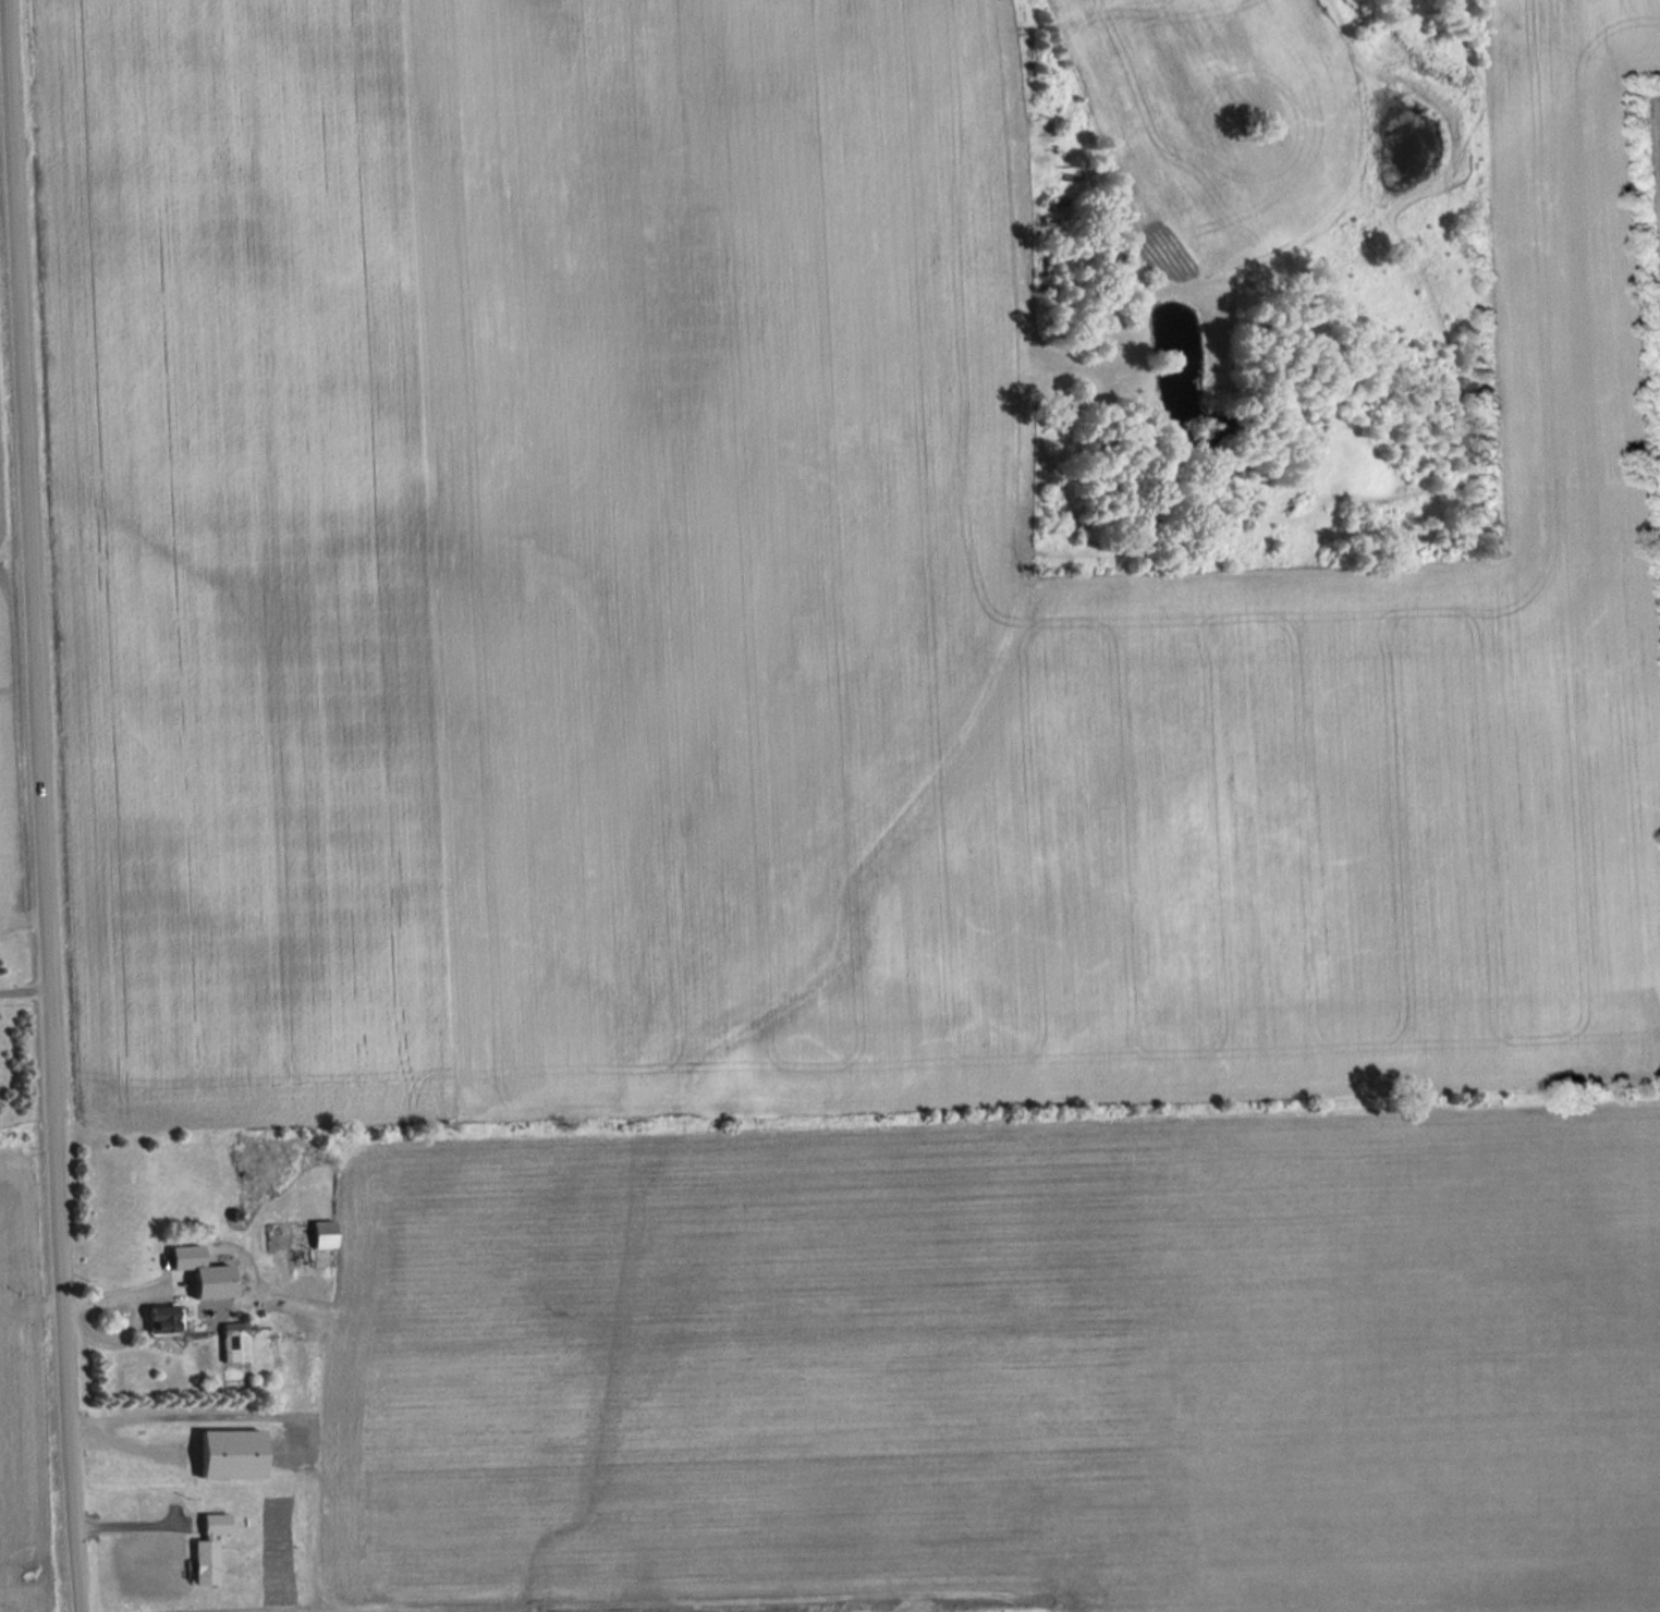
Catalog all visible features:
road: (46, 806)
building: (300, 1236)
building: (186, 1259)
building: (161, 1321)
building: (234, 1344)
building: (208, 1550)

